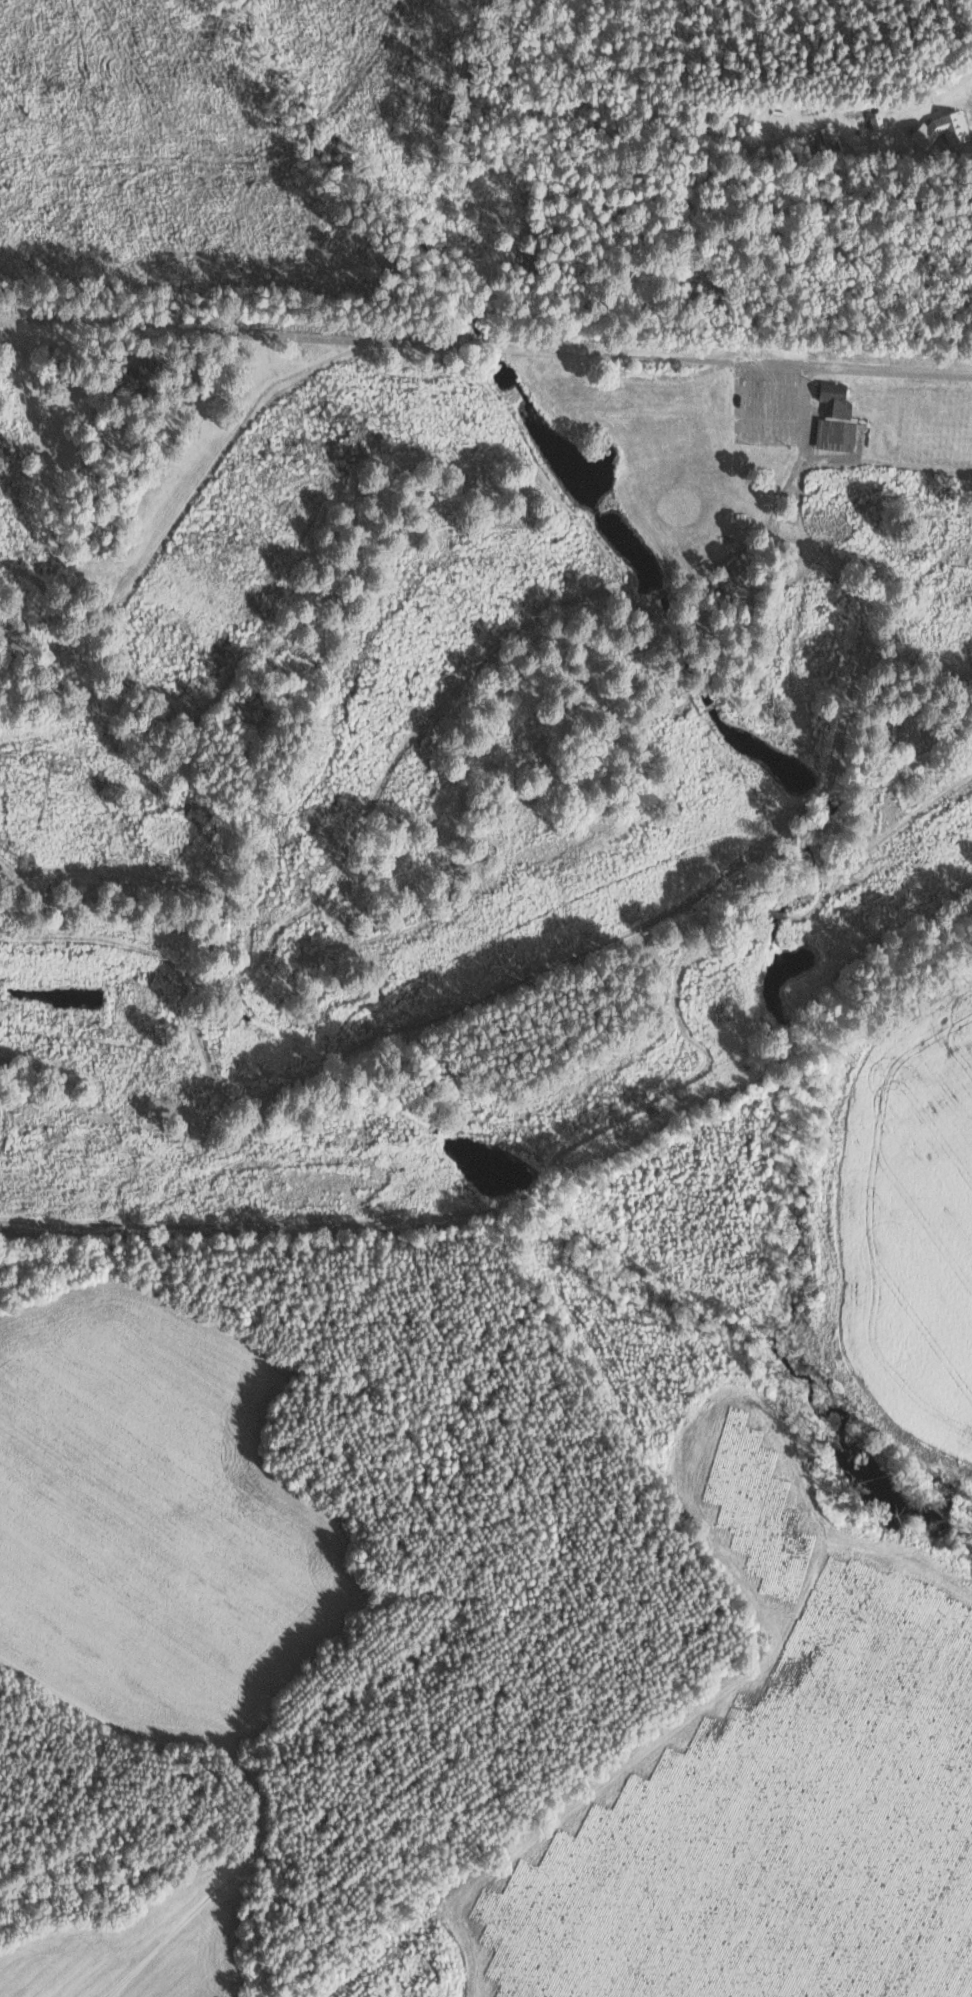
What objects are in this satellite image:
building: (876, 121)
building: (943, 129)
building: (825, 139)
road: (944, 156)
road: (565, 351)
building: (133, 376)
building: (835, 419)
park: (447, 750)

